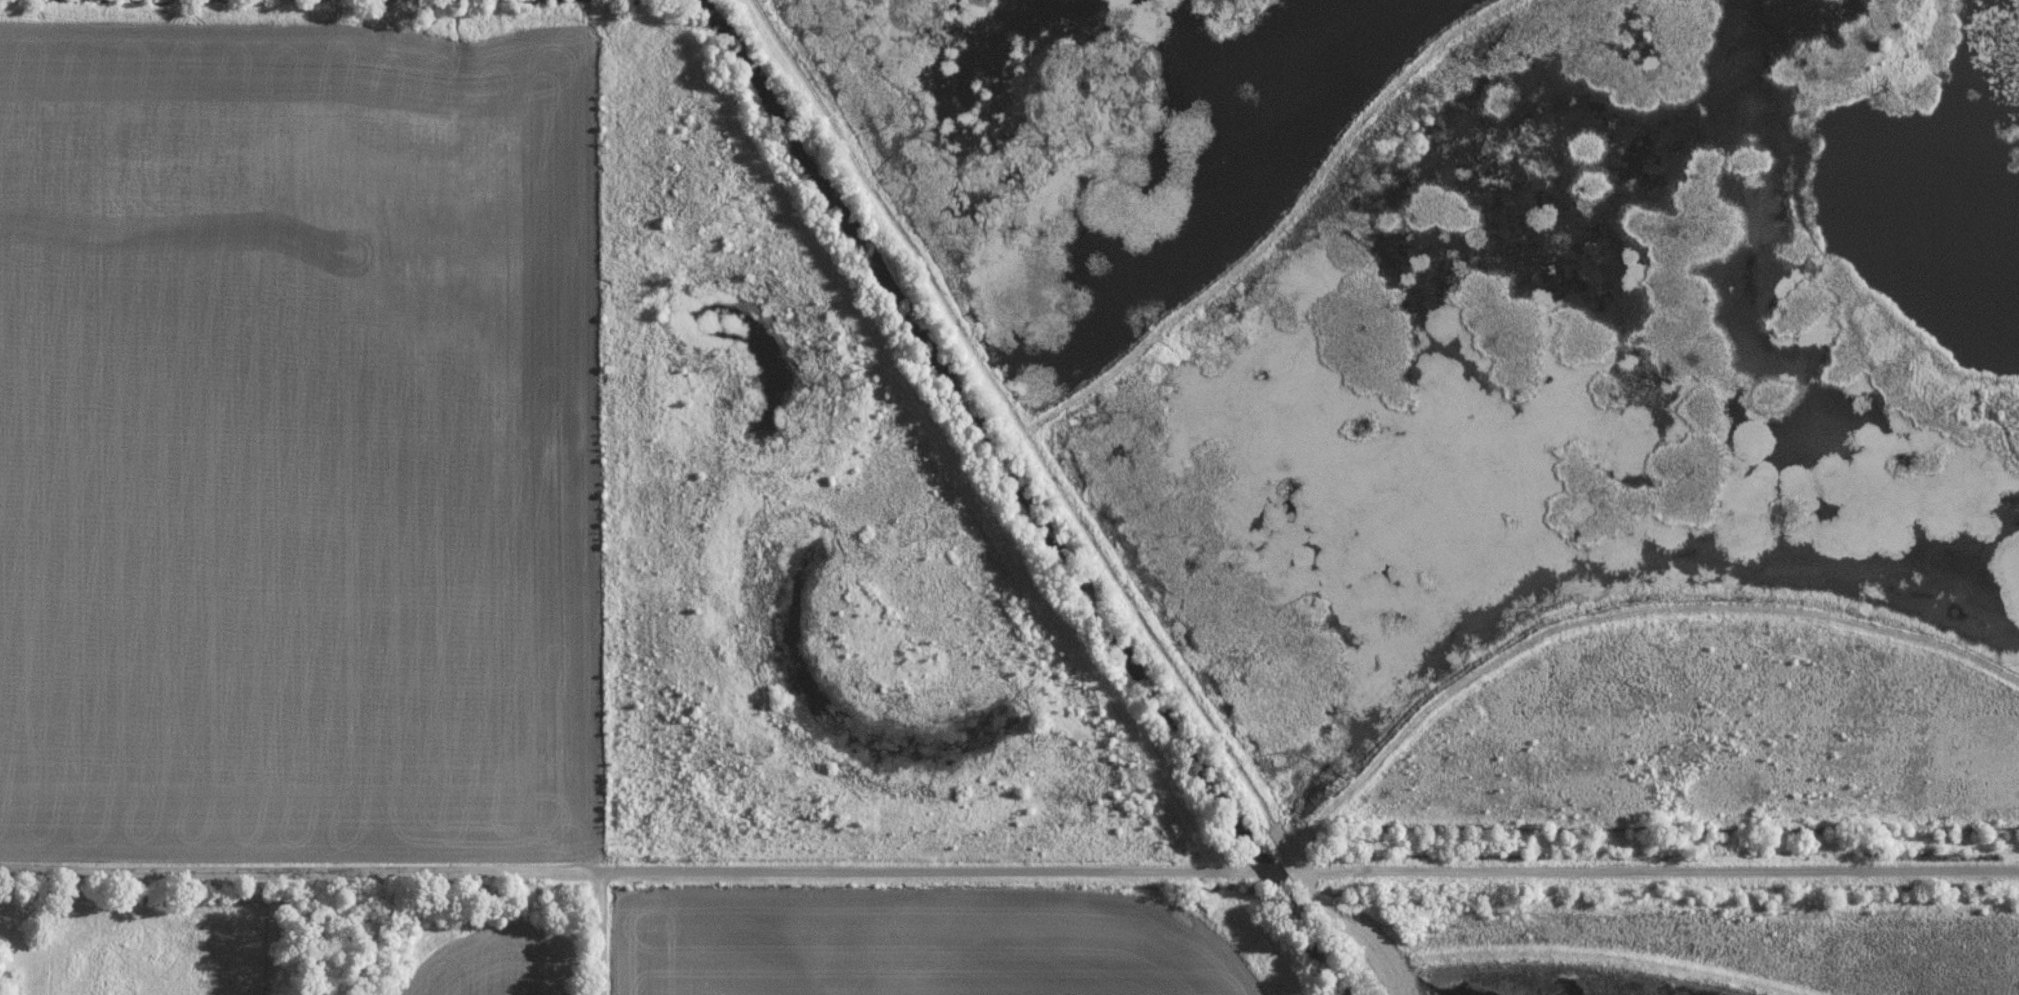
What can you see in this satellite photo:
parking lot: (1290, 844)
road: (1009, 873)
road: (598, 930)

